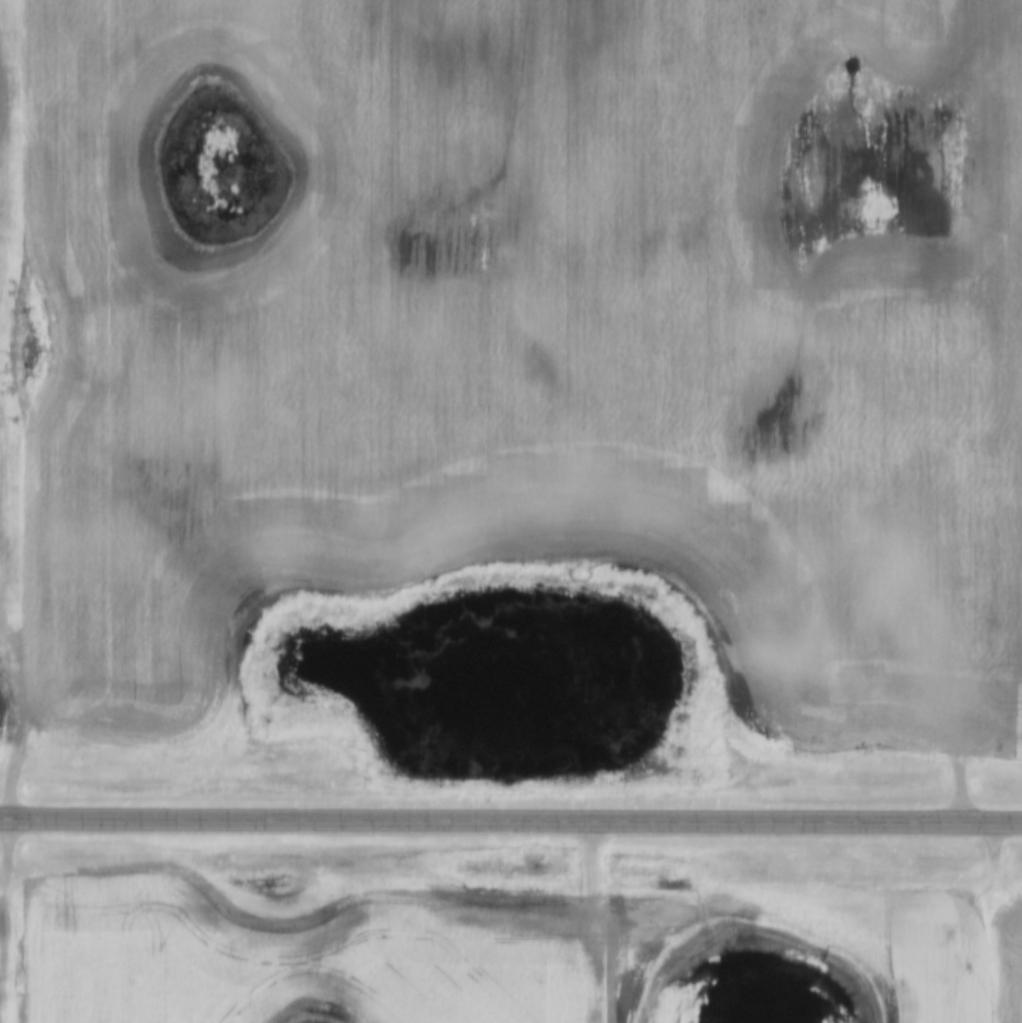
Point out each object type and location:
road: (510, 824)

